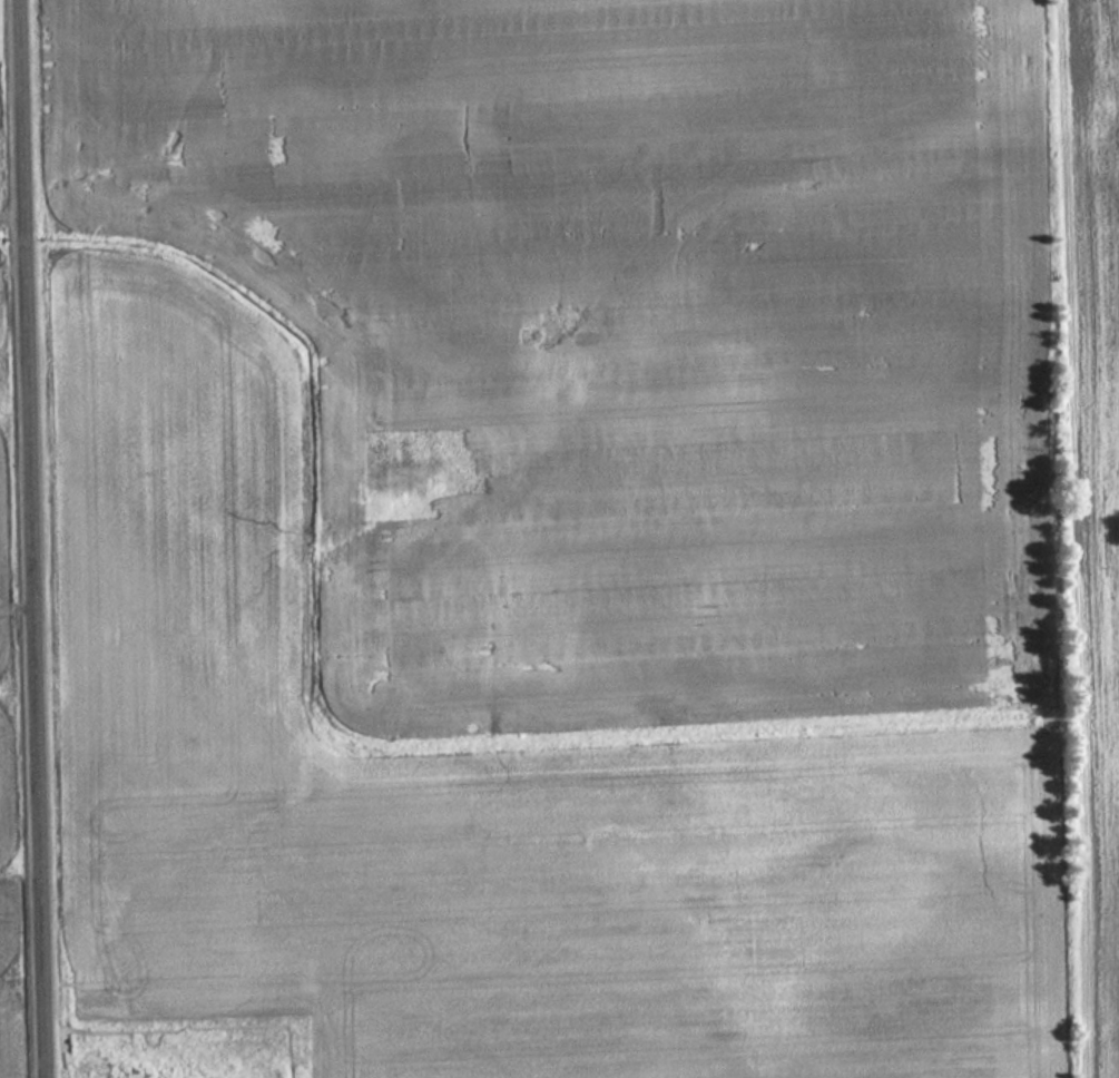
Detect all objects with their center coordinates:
road: (35, 538)

